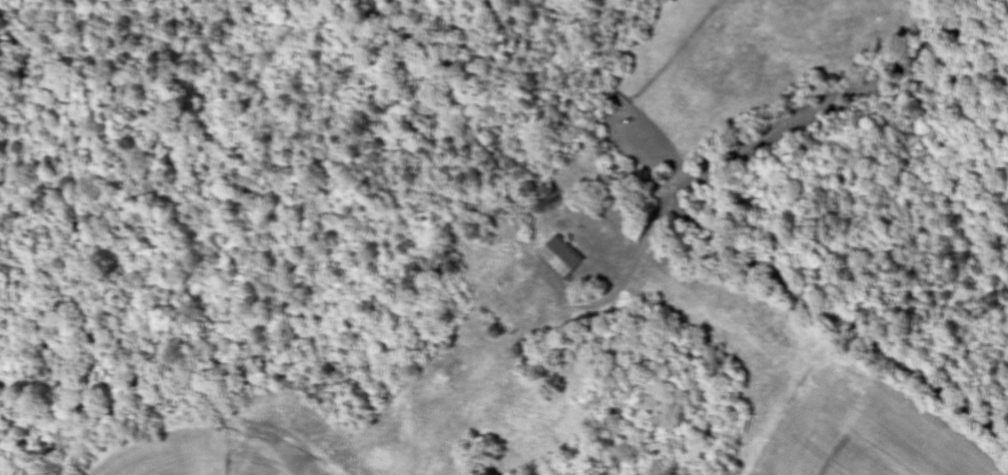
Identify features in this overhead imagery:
road: (693, 221)
building: (562, 260)

